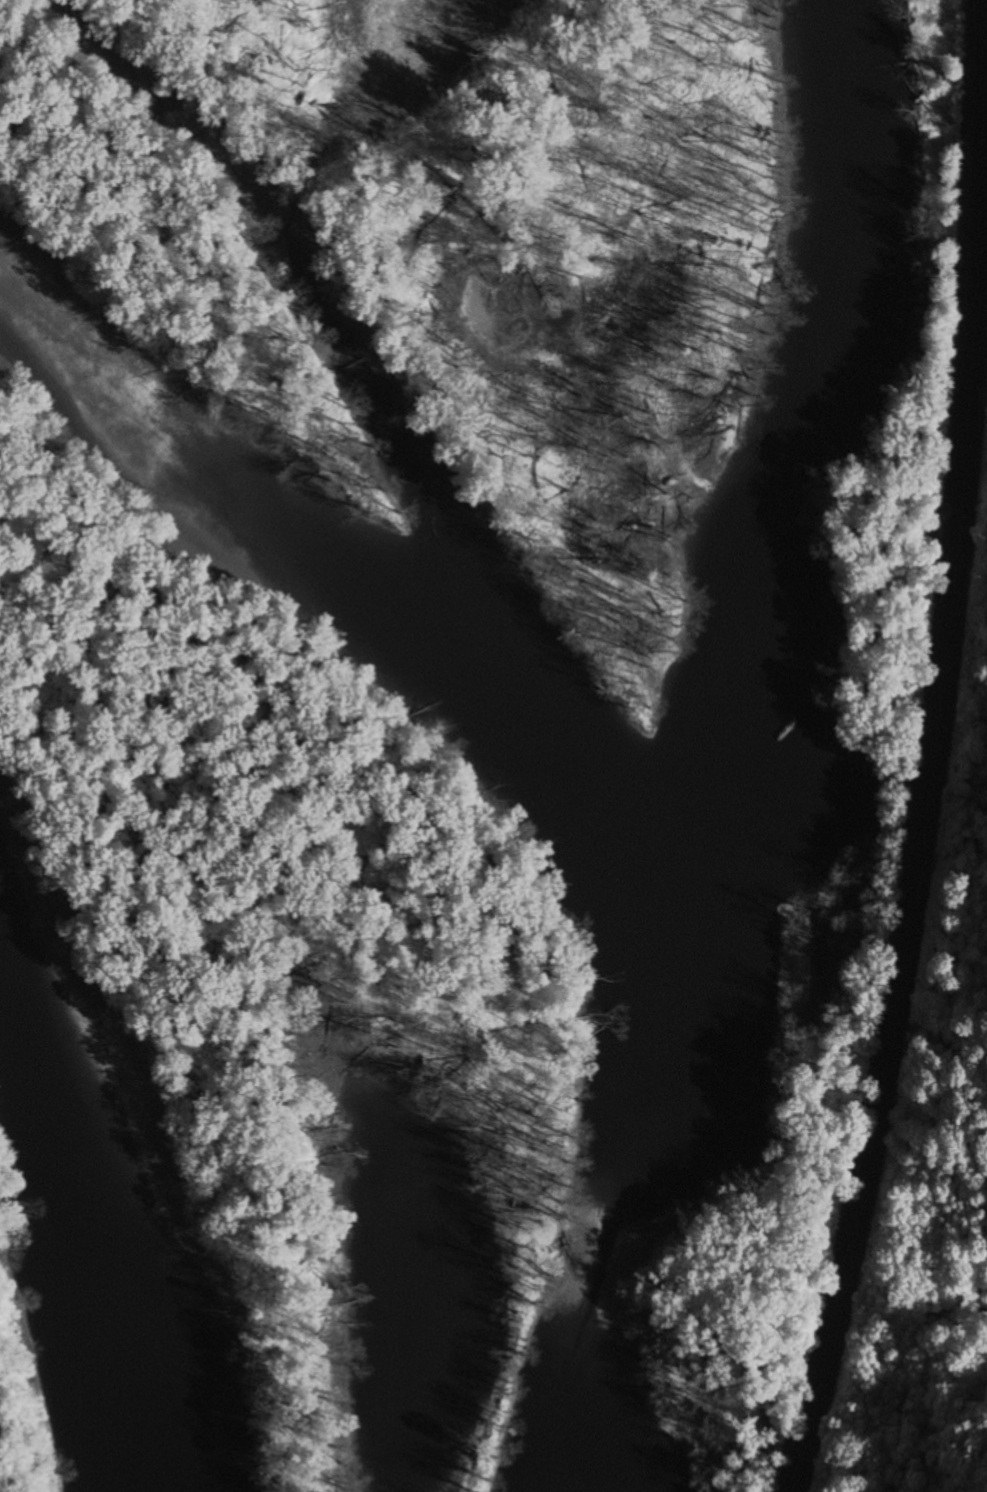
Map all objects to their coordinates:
railway: (986, 1)
railway: (934, 752)
railway: (939, 867)

